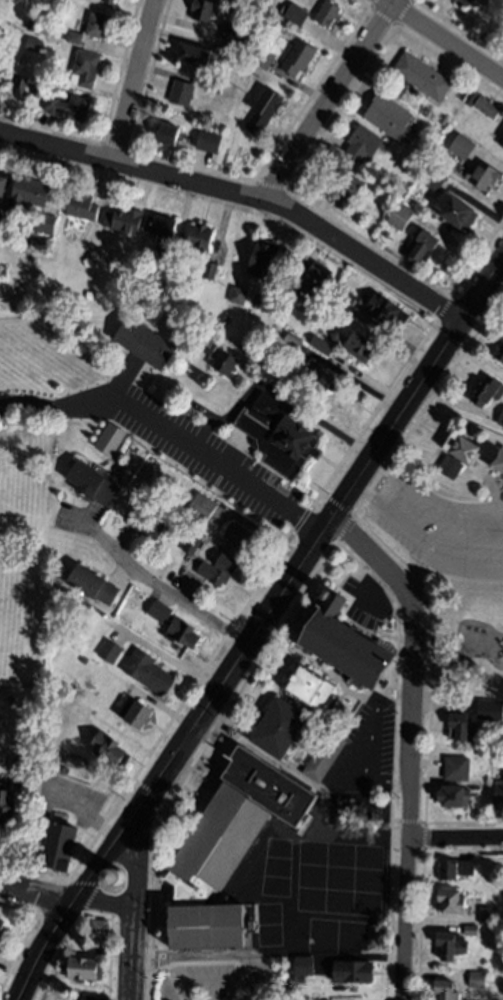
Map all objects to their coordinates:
building: (109, 1)
building: (468, 1)
building: (202, 10)
building: (327, 14)
building: (295, 15)
building: (30, 25)
building: (97, 26)
building: (1, 33)
building: (234, 33)
building: (74, 37)
road: (443, 39)
building: (32, 43)
building: (234, 52)
building: (193, 54)
building: (263, 58)
building: (297, 58)
building: (86, 68)
building: (422, 76)
road: (134, 81)
building: (19, 87)
building: (213, 88)
building: (181, 93)
building: (471, 98)
road: (327, 100)
building: (67, 106)
building: (487, 107)
building: (264, 111)
building: (389, 117)
building: (164, 136)
building: (501, 139)
building: (206, 143)
building: (362, 143)
building: (461, 145)
building: (482, 176)
building: (434, 179)
building: (2, 180)
building: (345, 183)
building: (26, 194)
road: (243, 197)
building: (81, 206)
building: (456, 212)
building: (400, 215)
building: (123, 220)
building: (45, 224)
building: (159, 227)
building: (197, 241)
building: (422, 247)
building: (172, 259)
building: (262, 259)
building: (12, 269)
building: (209, 270)
building: (313, 282)
building: (86, 294)
building: (289, 294)
building: (237, 295)
building: (258, 299)
building: (345, 299)
building: (387, 312)
building: (144, 343)
building: (290, 344)
building: (320, 345)
building: (358, 349)
building: (499, 356)
building: (225, 362)
building: (317, 378)
building: (486, 392)
road: (27, 404)
building: (500, 420)
building: (276, 438)
building: (107, 442)
road: (192, 451)
building: (468, 457)
building: (88, 485)
road: (432, 500)
building: (201, 507)
building: (148, 524)
building: (240, 536)
road: (313, 542)
road: (421, 542)
building: (191, 545)
road: (283, 549)
building: (178, 558)
building: (218, 570)
building: (88, 587)
road: (152, 587)
building: (172, 627)
road: (279, 632)
building: (336, 645)
building: (110, 652)
building: (84, 660)
building: (148, 672)
building: (307, 692)
building: (486, 707)
building: (498, 710)
building: (135, 712)
building: (463, 728)
building: (274, 732)
road: (411, 742)
building: (109, 750)
building: (33, 756)
building: (323, 756)
building: (49, 757)
building: (457, 768)
building: (23, 769)
building: (499, 792)
building: (454, 796)
building: (6, 806)
road: (83, 808)
road: (446, 824)
road: (456, 840)
building: (59, 846)
road: (463, 855)
building: (257, 867)
building: (454, 869)
building: (212, 872)
road: (49, 875)
building: (115, 876)
water tower: (112, 882)
road: (137, 892)
building: (452, 902)
road: (66, 903)
road: (18, 909)
road: (65, 909)
road: (133, 913)
building: (488, 915)
road: (96, 916)
building: (2, 927)
building: (98, 929)
building: (471, 930)
road: (26, 935)
road: (68, 941)
building: (451, 945)
road: (109, 958)
building: (303, 965)
building: (83, 969)
building: (352, 975)
building: (300, 979)
building: (477, 980)
building: (445, 990)
building: (84, 997)

